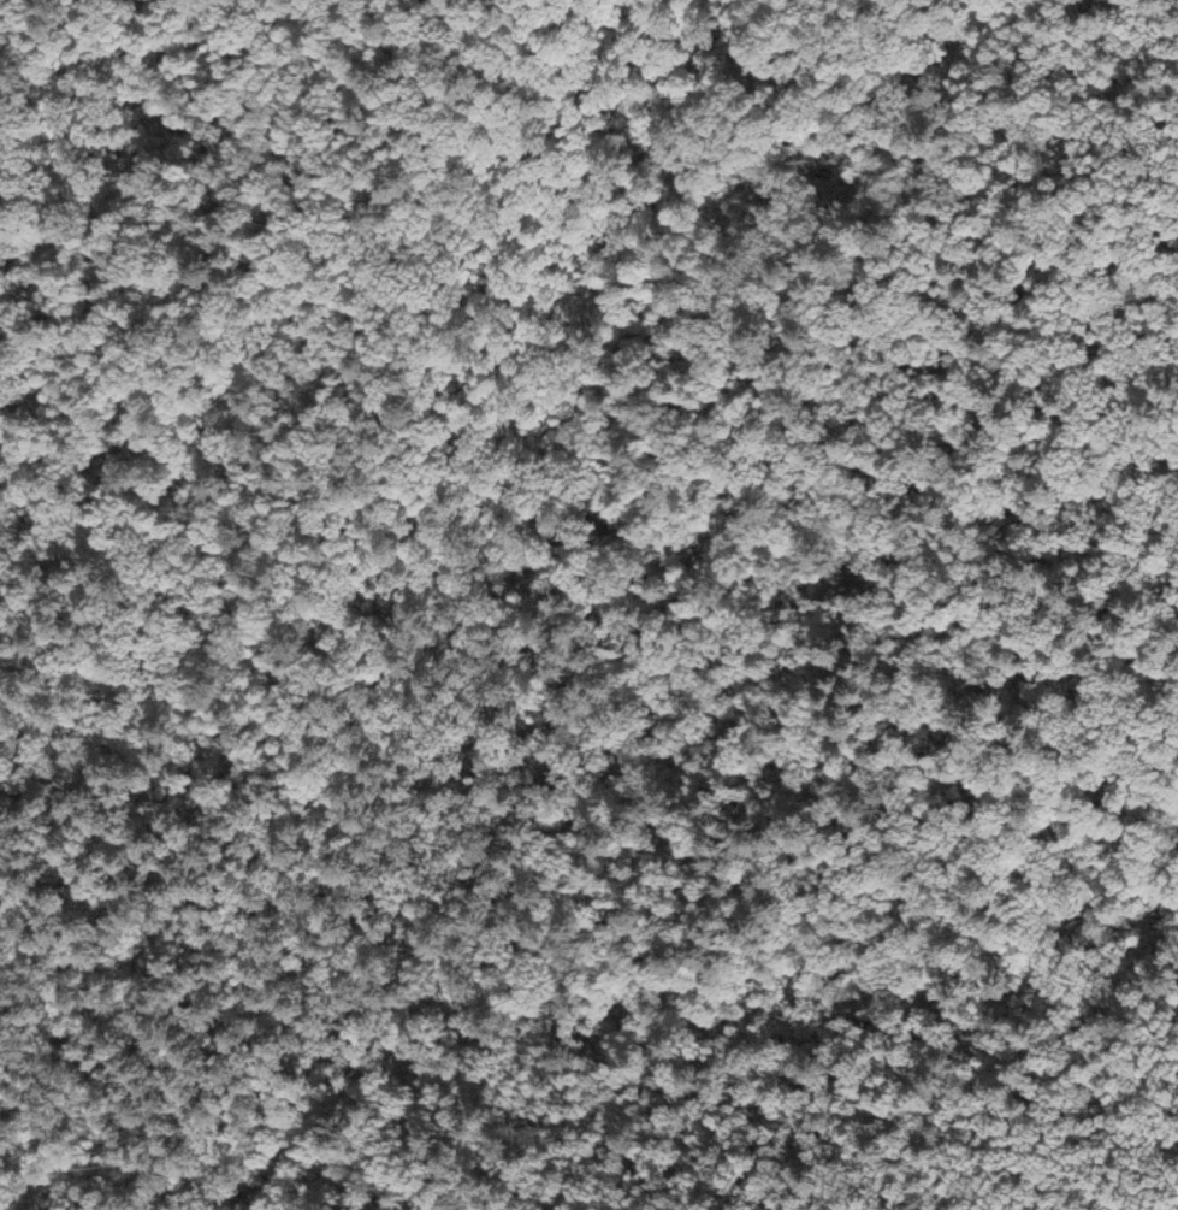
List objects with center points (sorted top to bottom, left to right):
road: (949, 1)
road: (1103, 267)
road: (274, 309)

